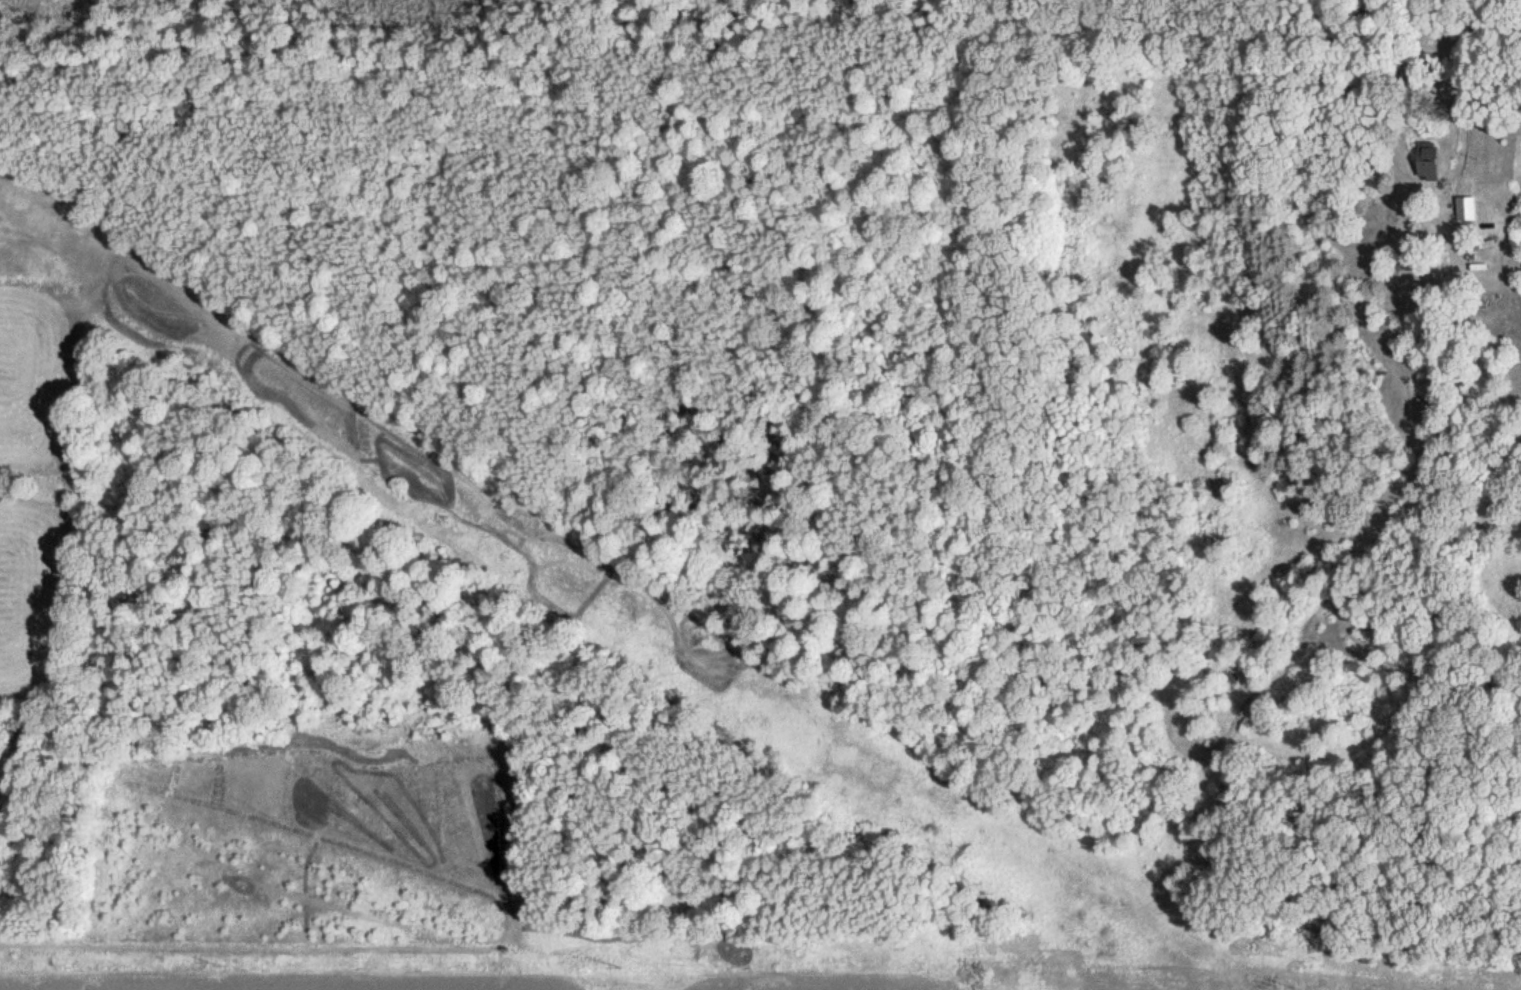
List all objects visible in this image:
road: (1486, 29)
building: (1425, 159)
road: (1442, 180)
building: (1464, 206)
power tower: (221, 966)
power tower: (605, 968)
power tower: (978, 969)
power tower: (1292, 986)

